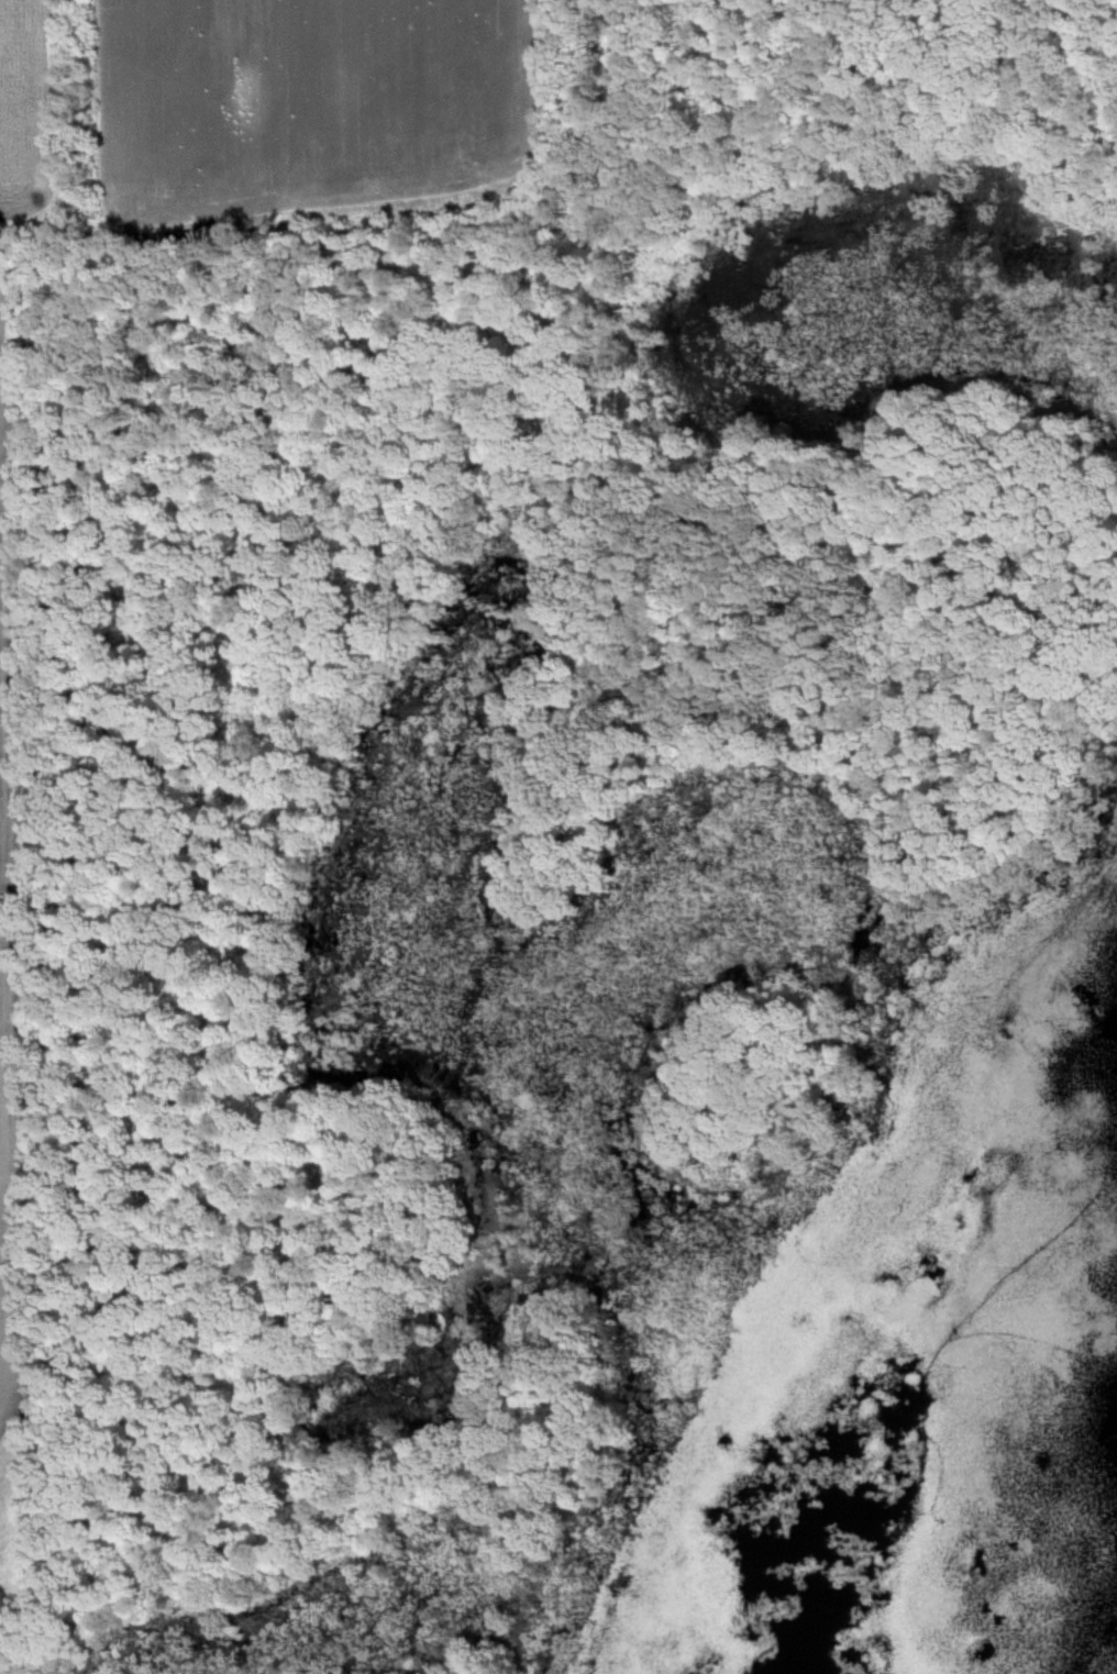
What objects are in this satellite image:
road: (516, 396)

